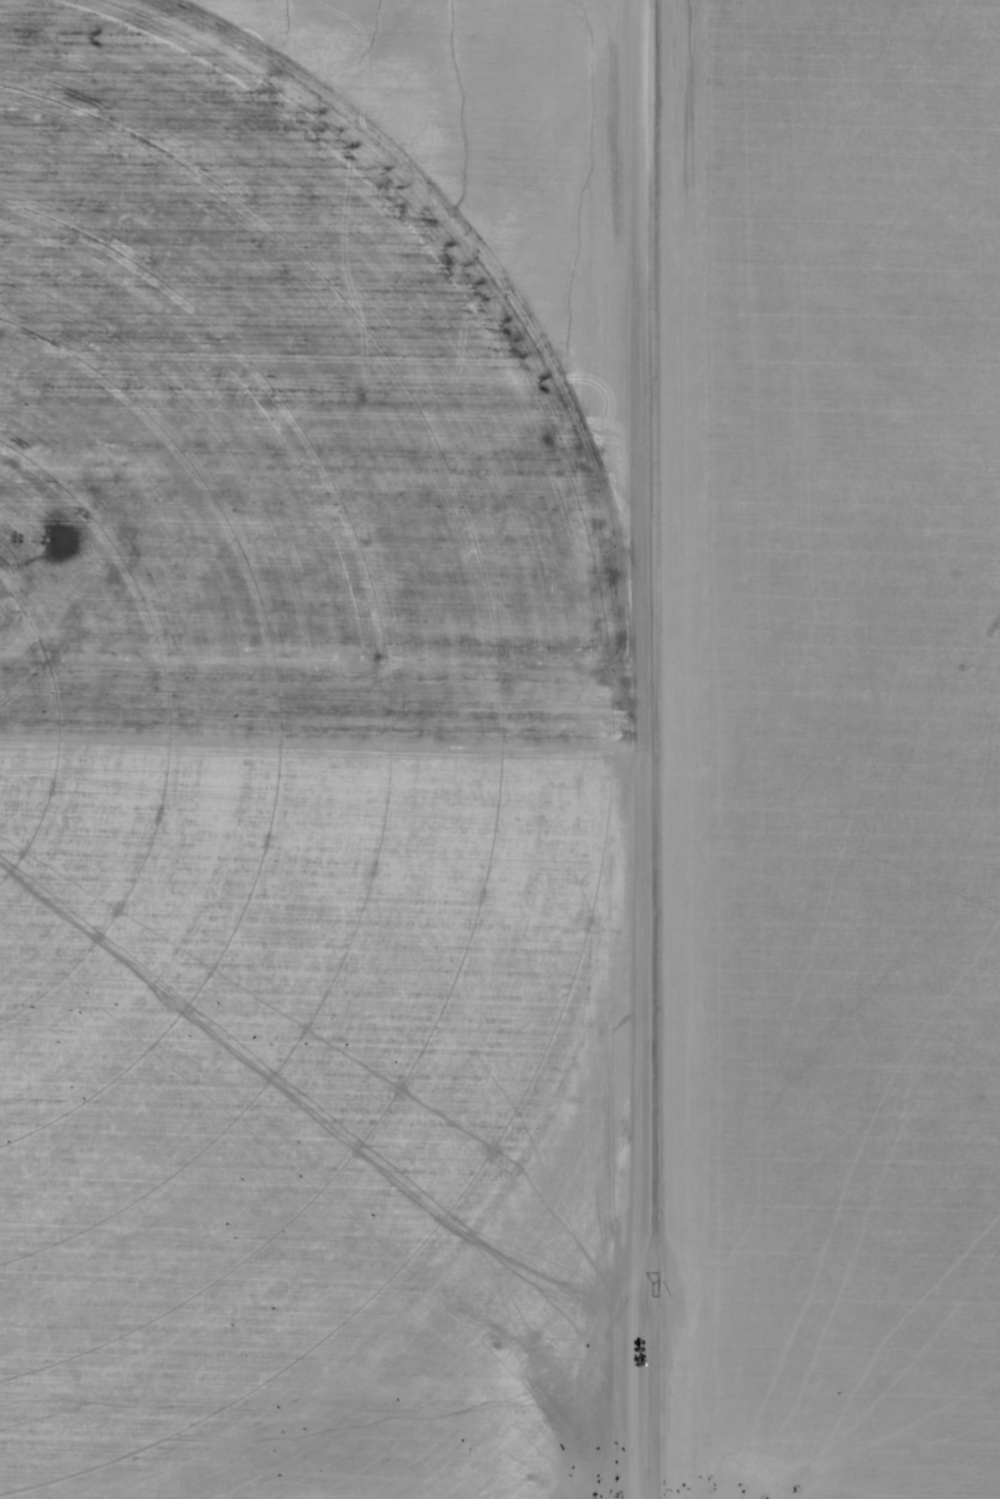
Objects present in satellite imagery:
road: (737, 749)

